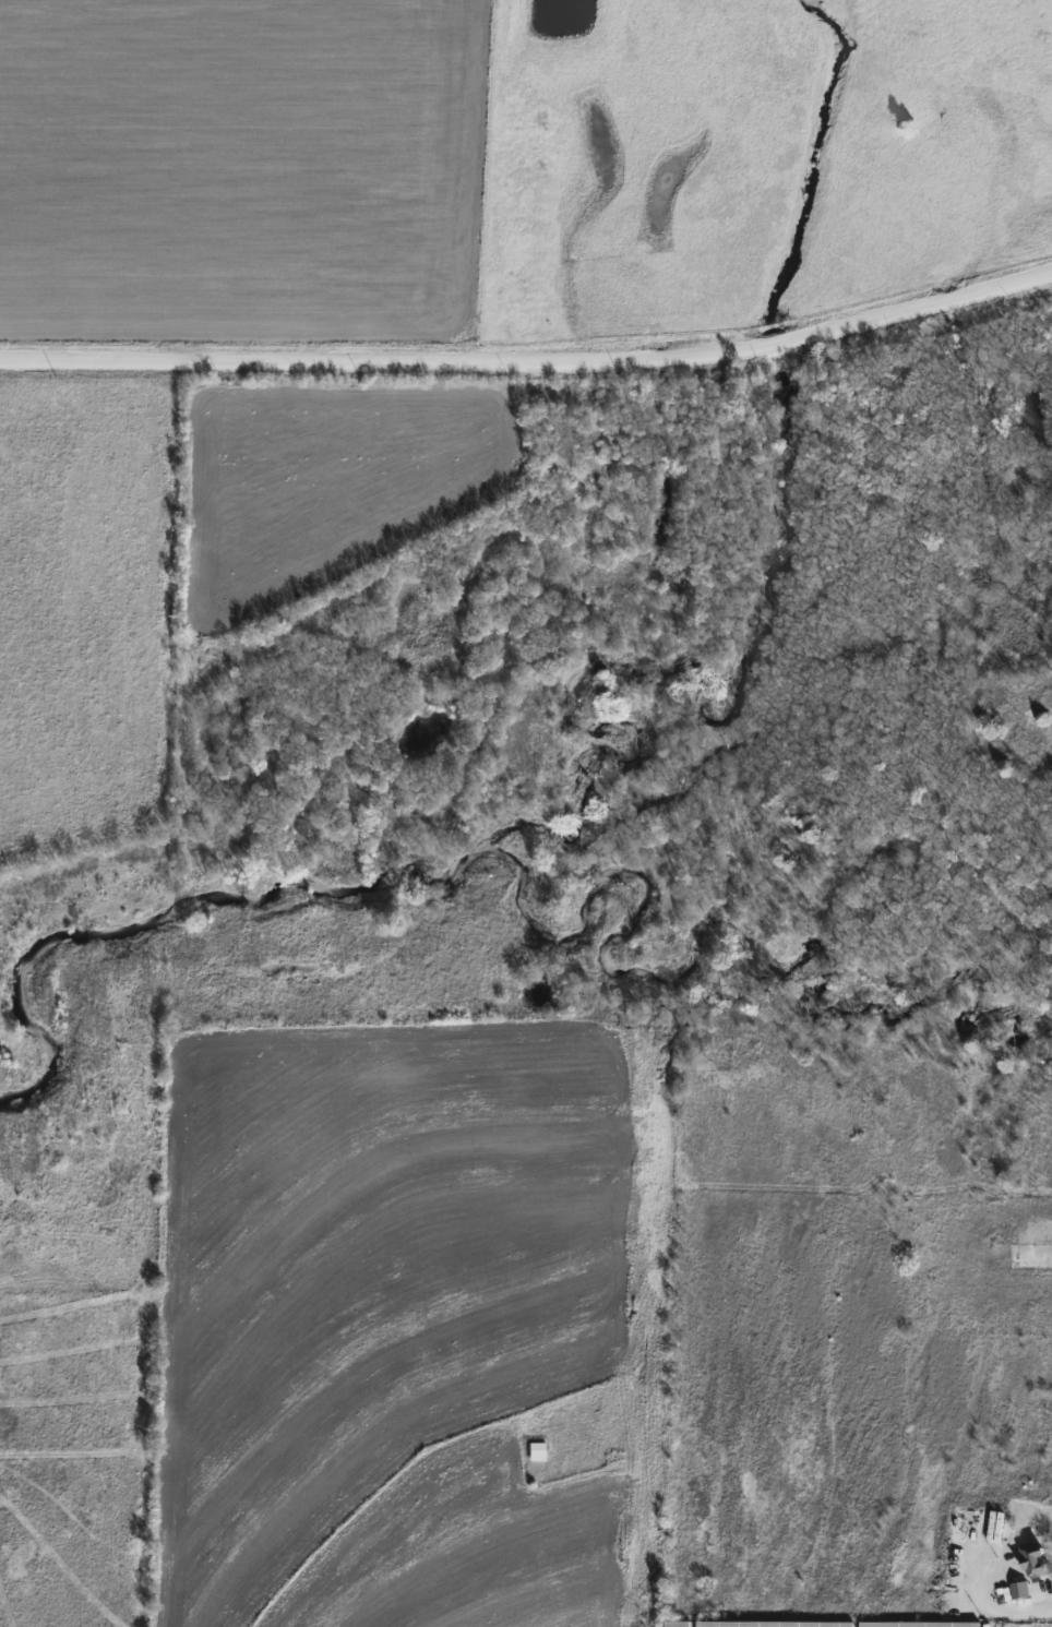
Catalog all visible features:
road: (531, 370)
building: (537, 1452)
building: (1035, 1559)
building: (1019, 1591)
road: (1007, 1606)
building: (674, 1624)
building: (920, 1625)

